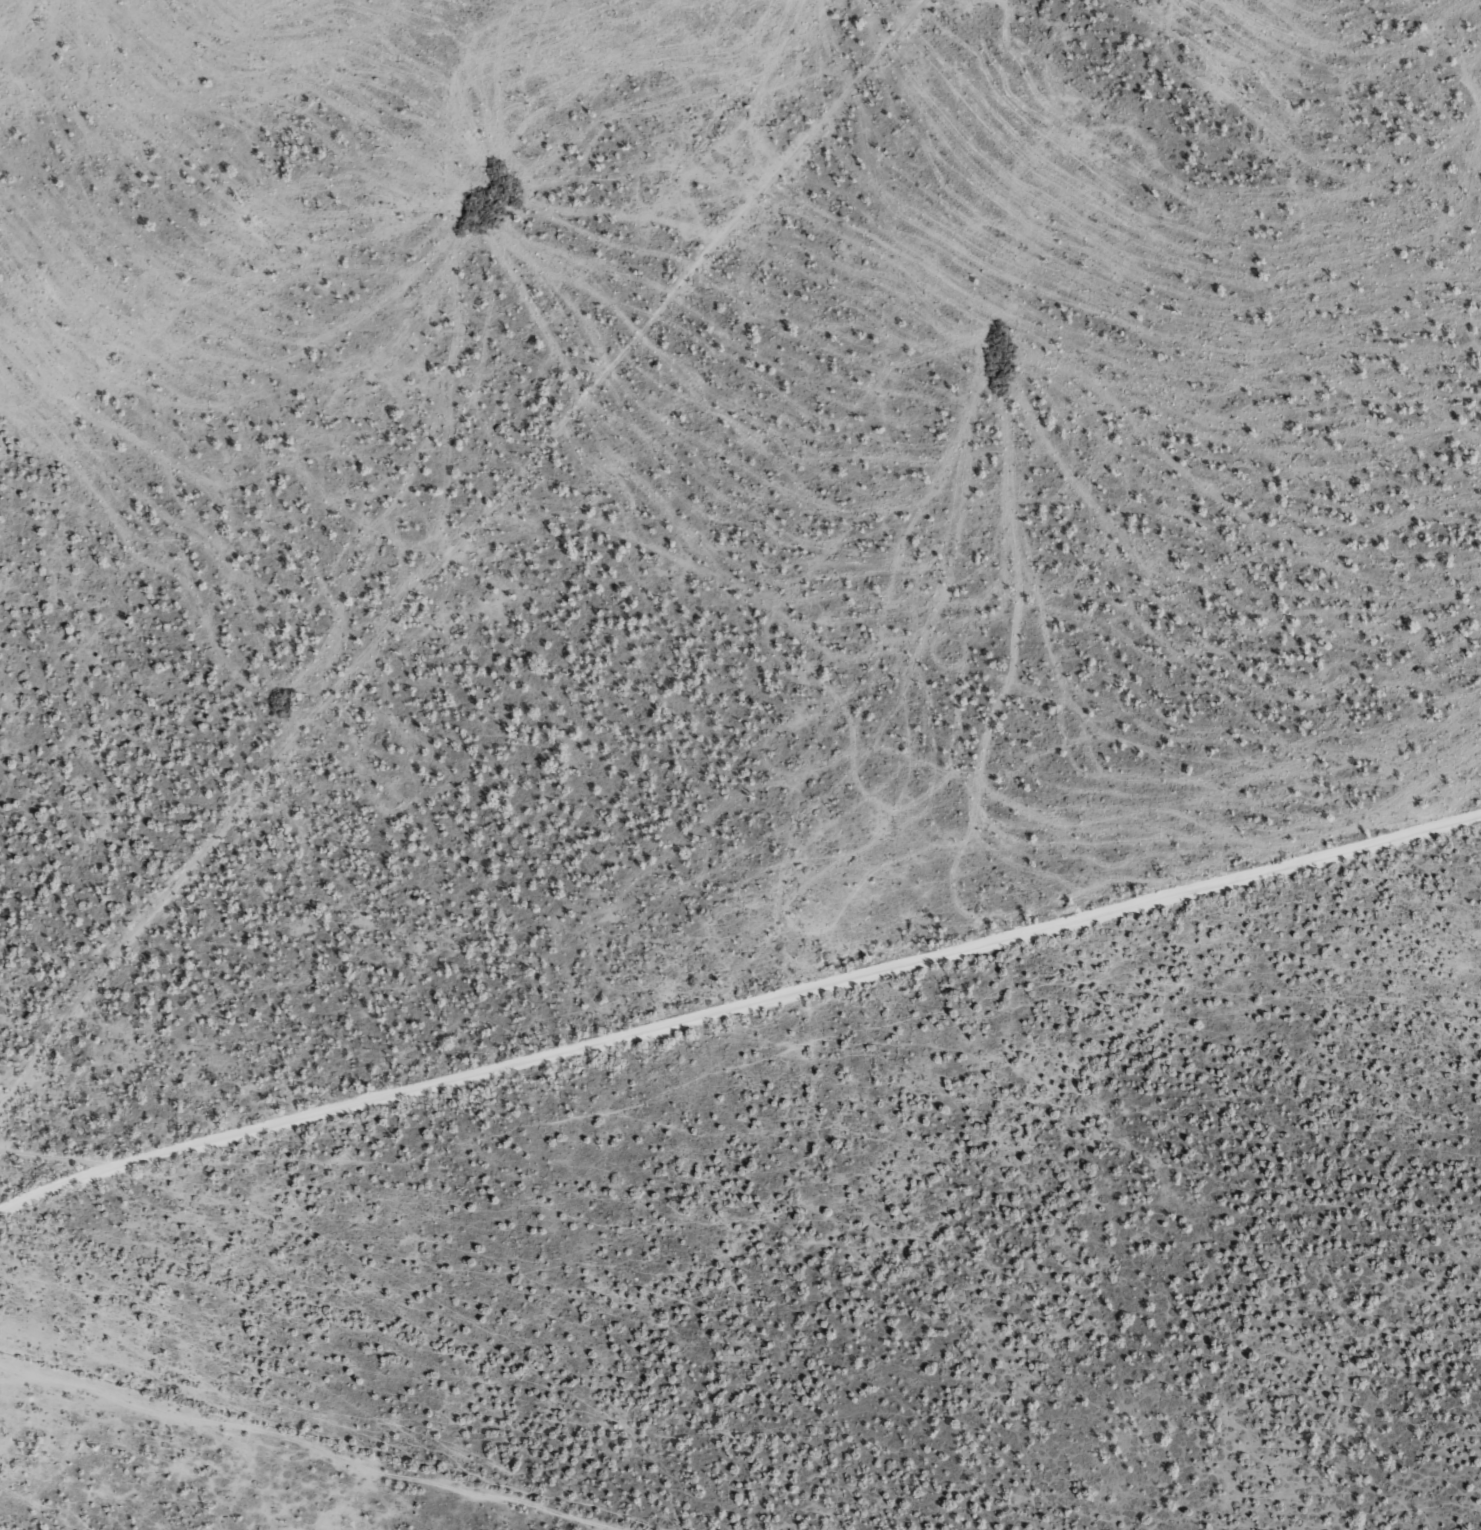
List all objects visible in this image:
road: (748, 1097)

